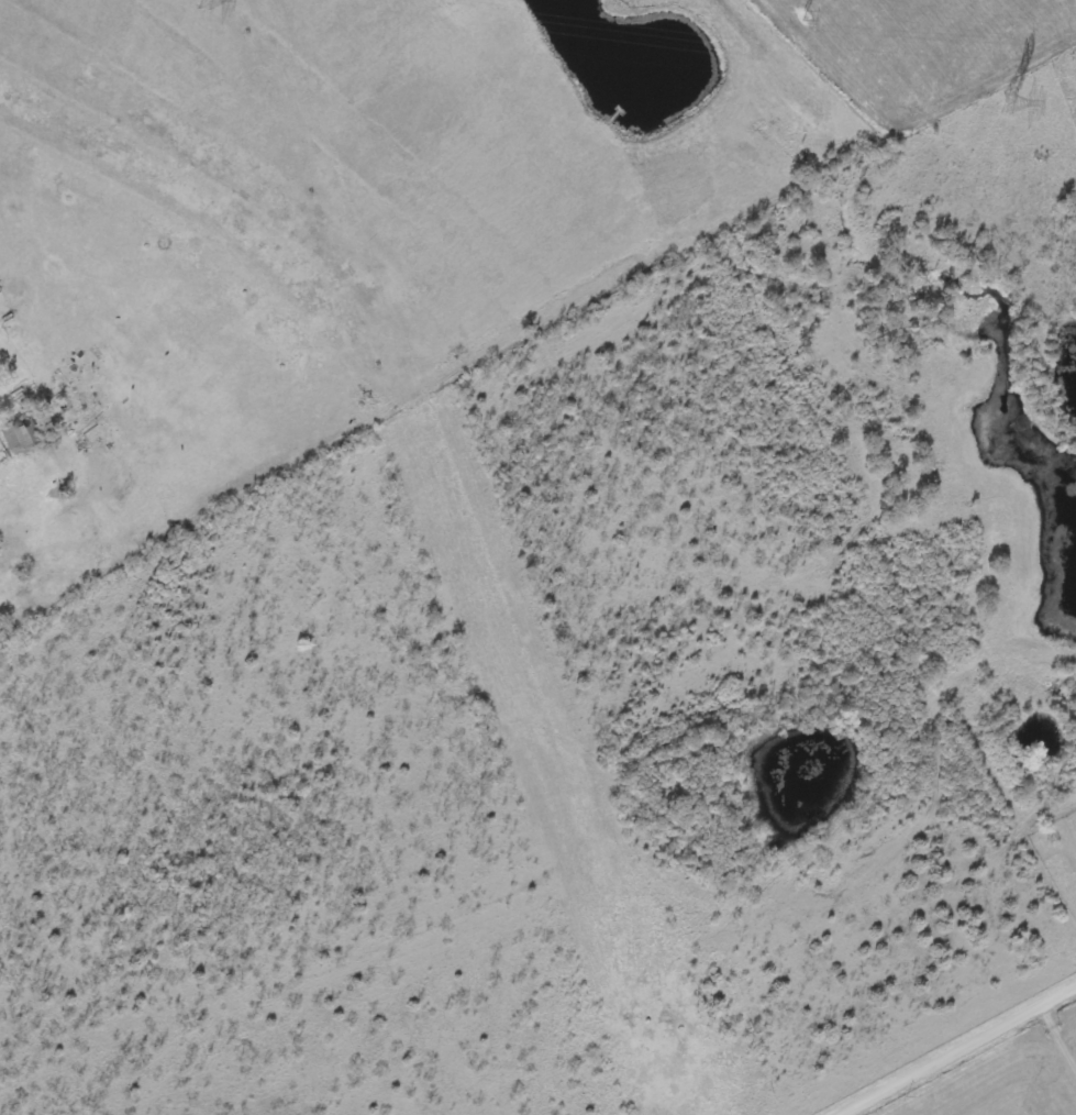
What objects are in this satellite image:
power tower: (201, 2)
power tower: (808, 15)
power tower: (1003, 106)
building: (20, 440)
road: (961, 1052)

